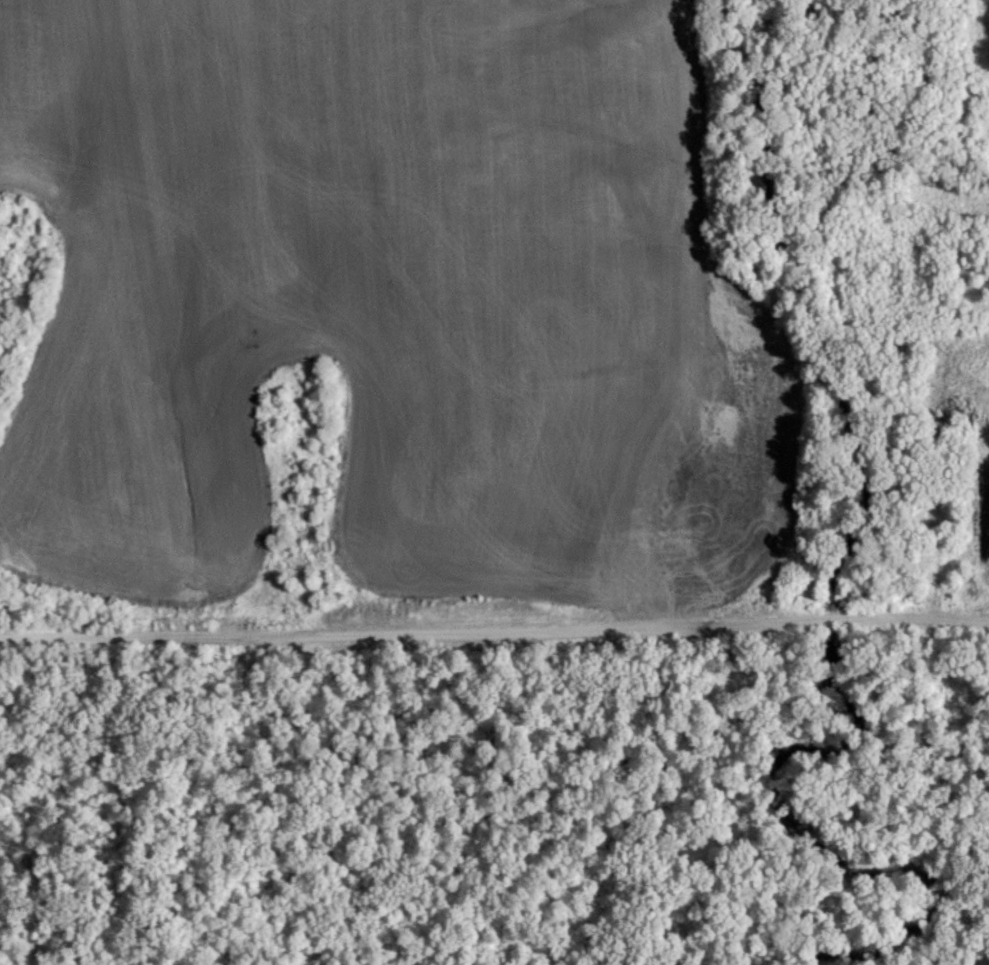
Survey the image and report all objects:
road: (497, 633)

